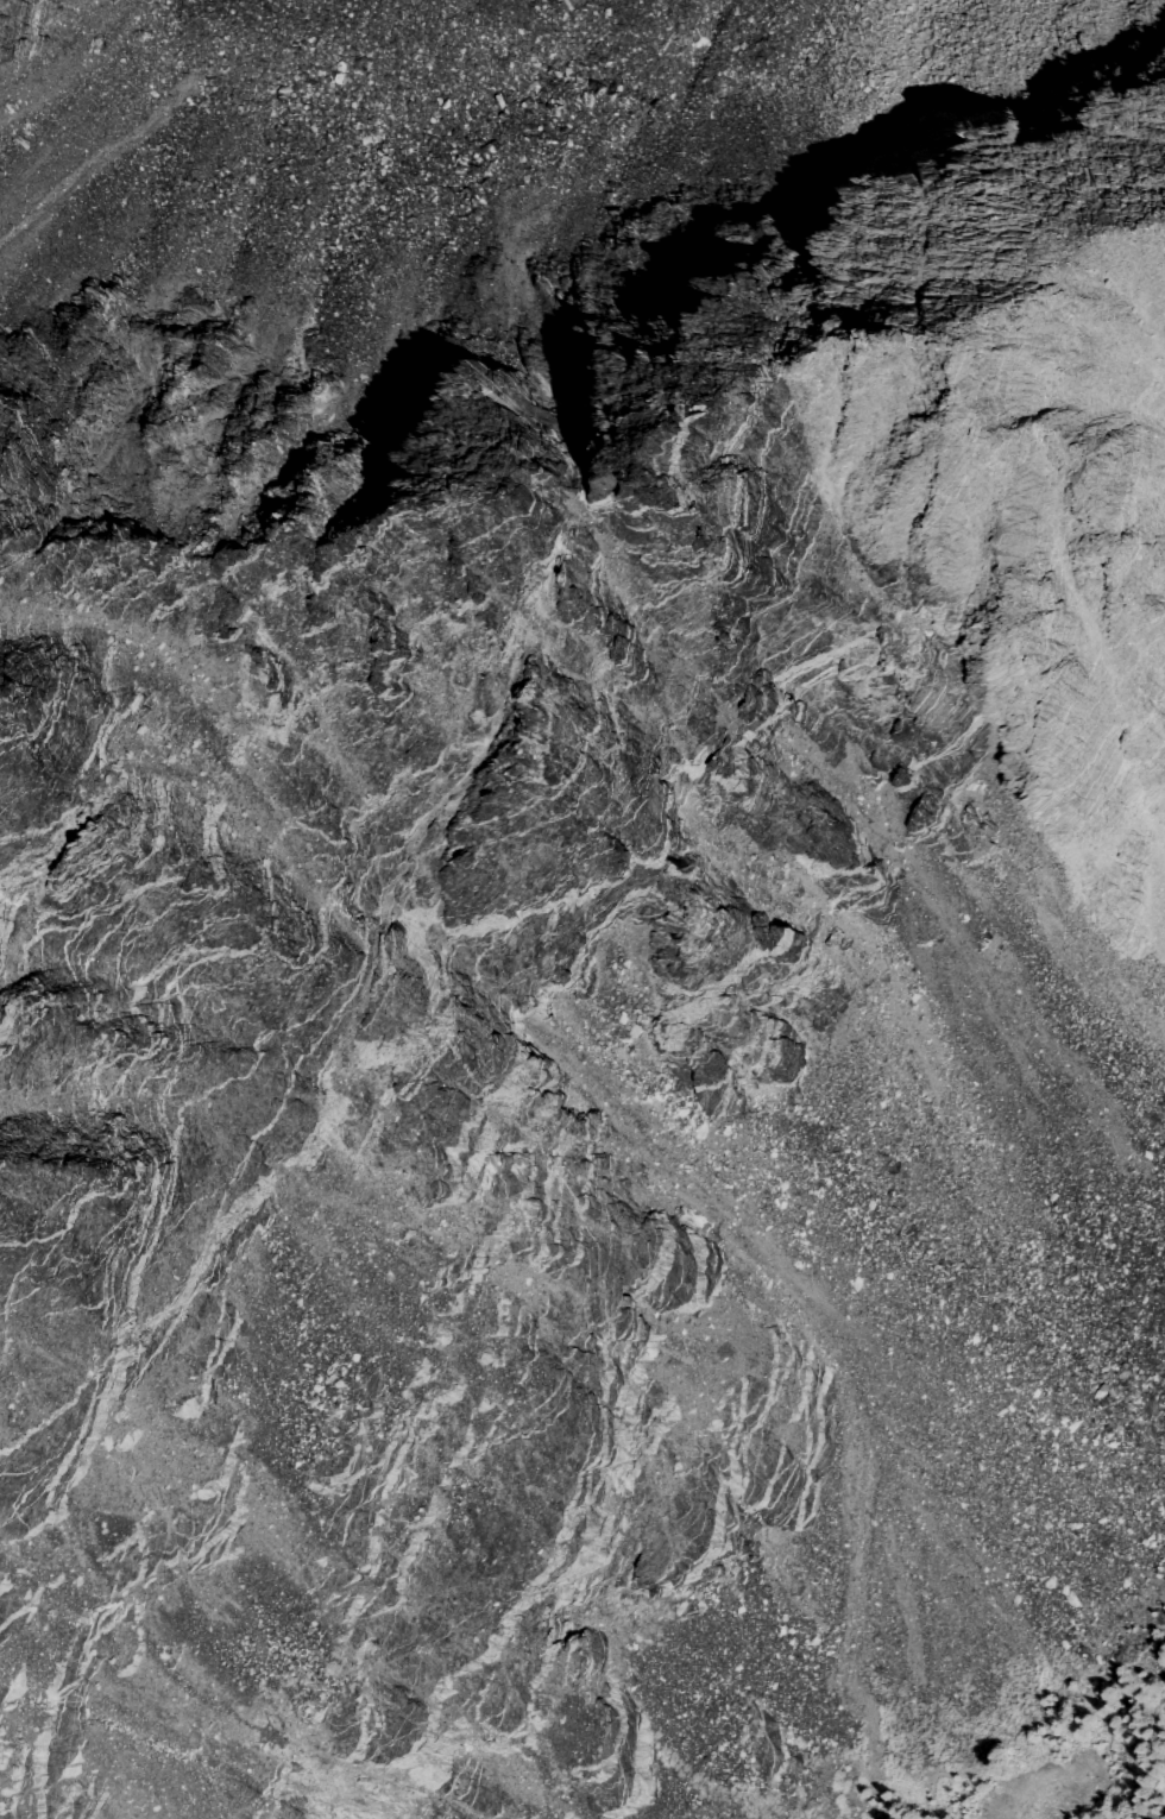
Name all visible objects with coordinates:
road: (1039, 1722)

